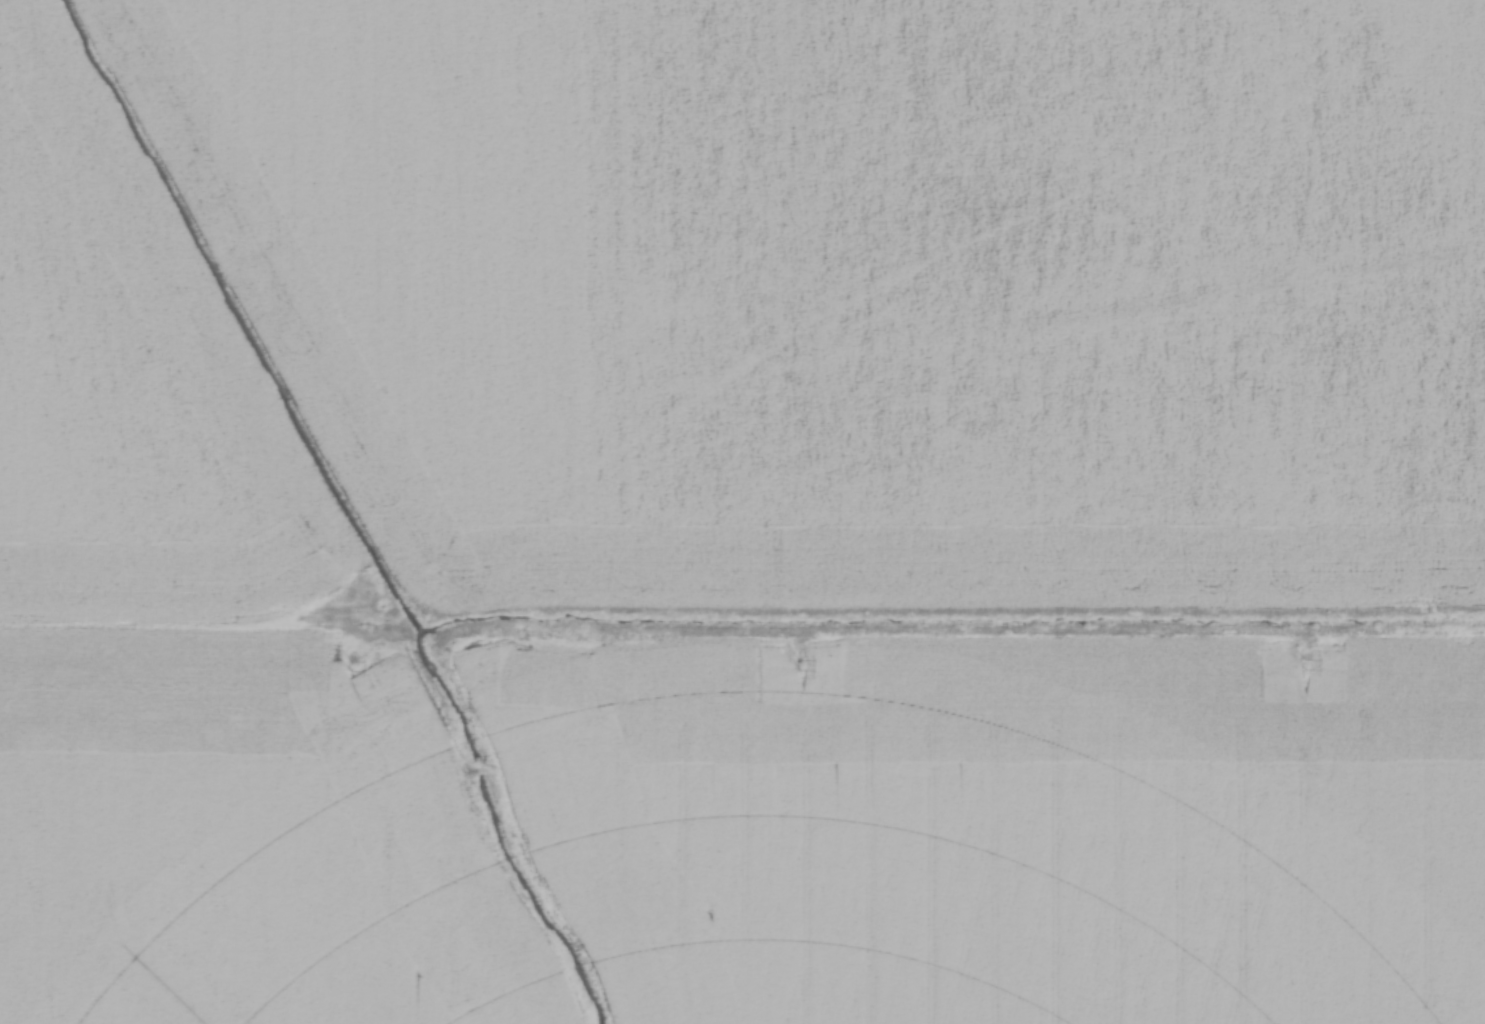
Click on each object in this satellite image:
power tower: (792, 662)
power tower: (336, 663)
power tower: (1301, 663)

